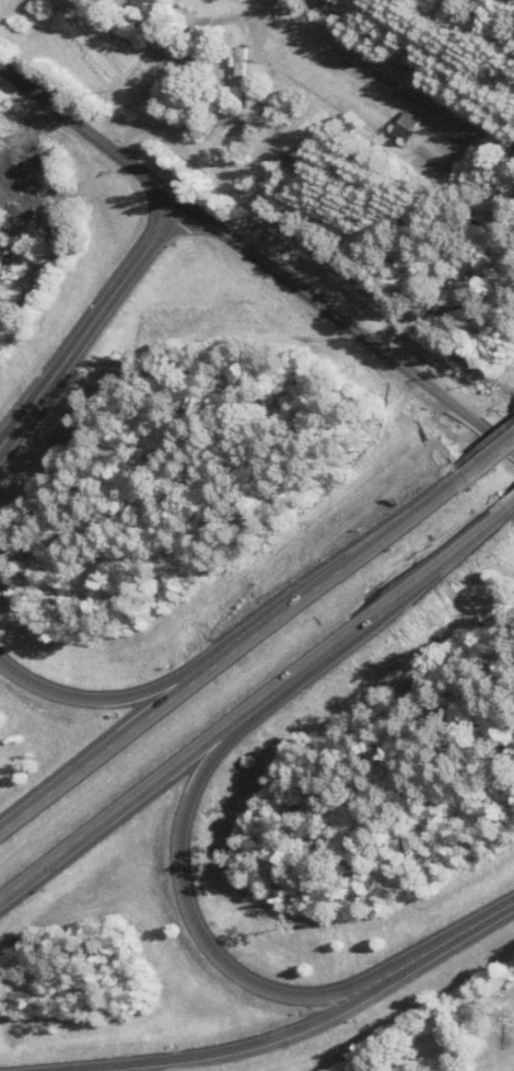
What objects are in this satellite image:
building: (241, 70)
building: (407, 127)
road: (258, 262)
road: (90, 322)
road: (486, 457)
road: (510, 516)
road: (330, 574)
road: (100, 700)
road: (250, 703)
road: (102, 747)
road: (190, 929)
road: (446, 941)
road: (222, 1052)

